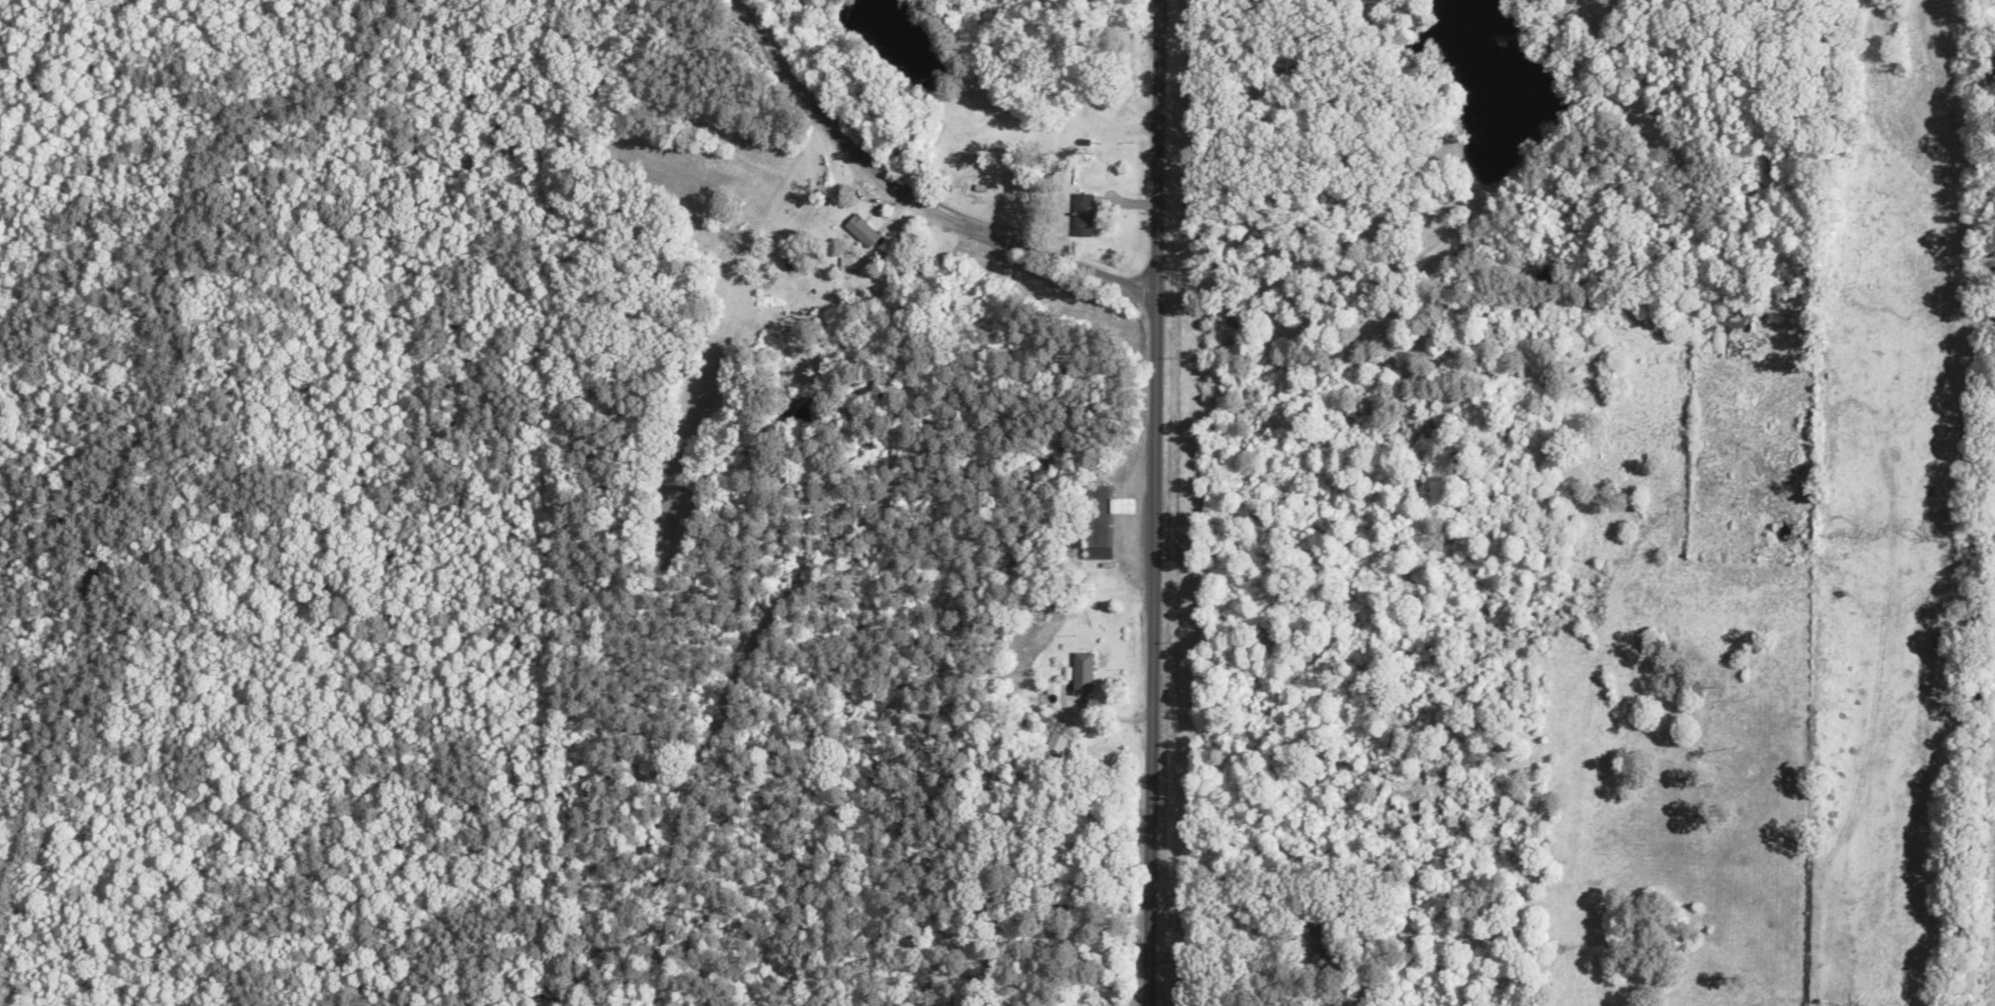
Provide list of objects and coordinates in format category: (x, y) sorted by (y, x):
road: (901, 199)
building: (1080, 216)
building: (861, 233)
building: (1733, 328)
road: (1146, 502)
building: (1099, 520)
building: (1081, 673)
building: (1056, 745)

